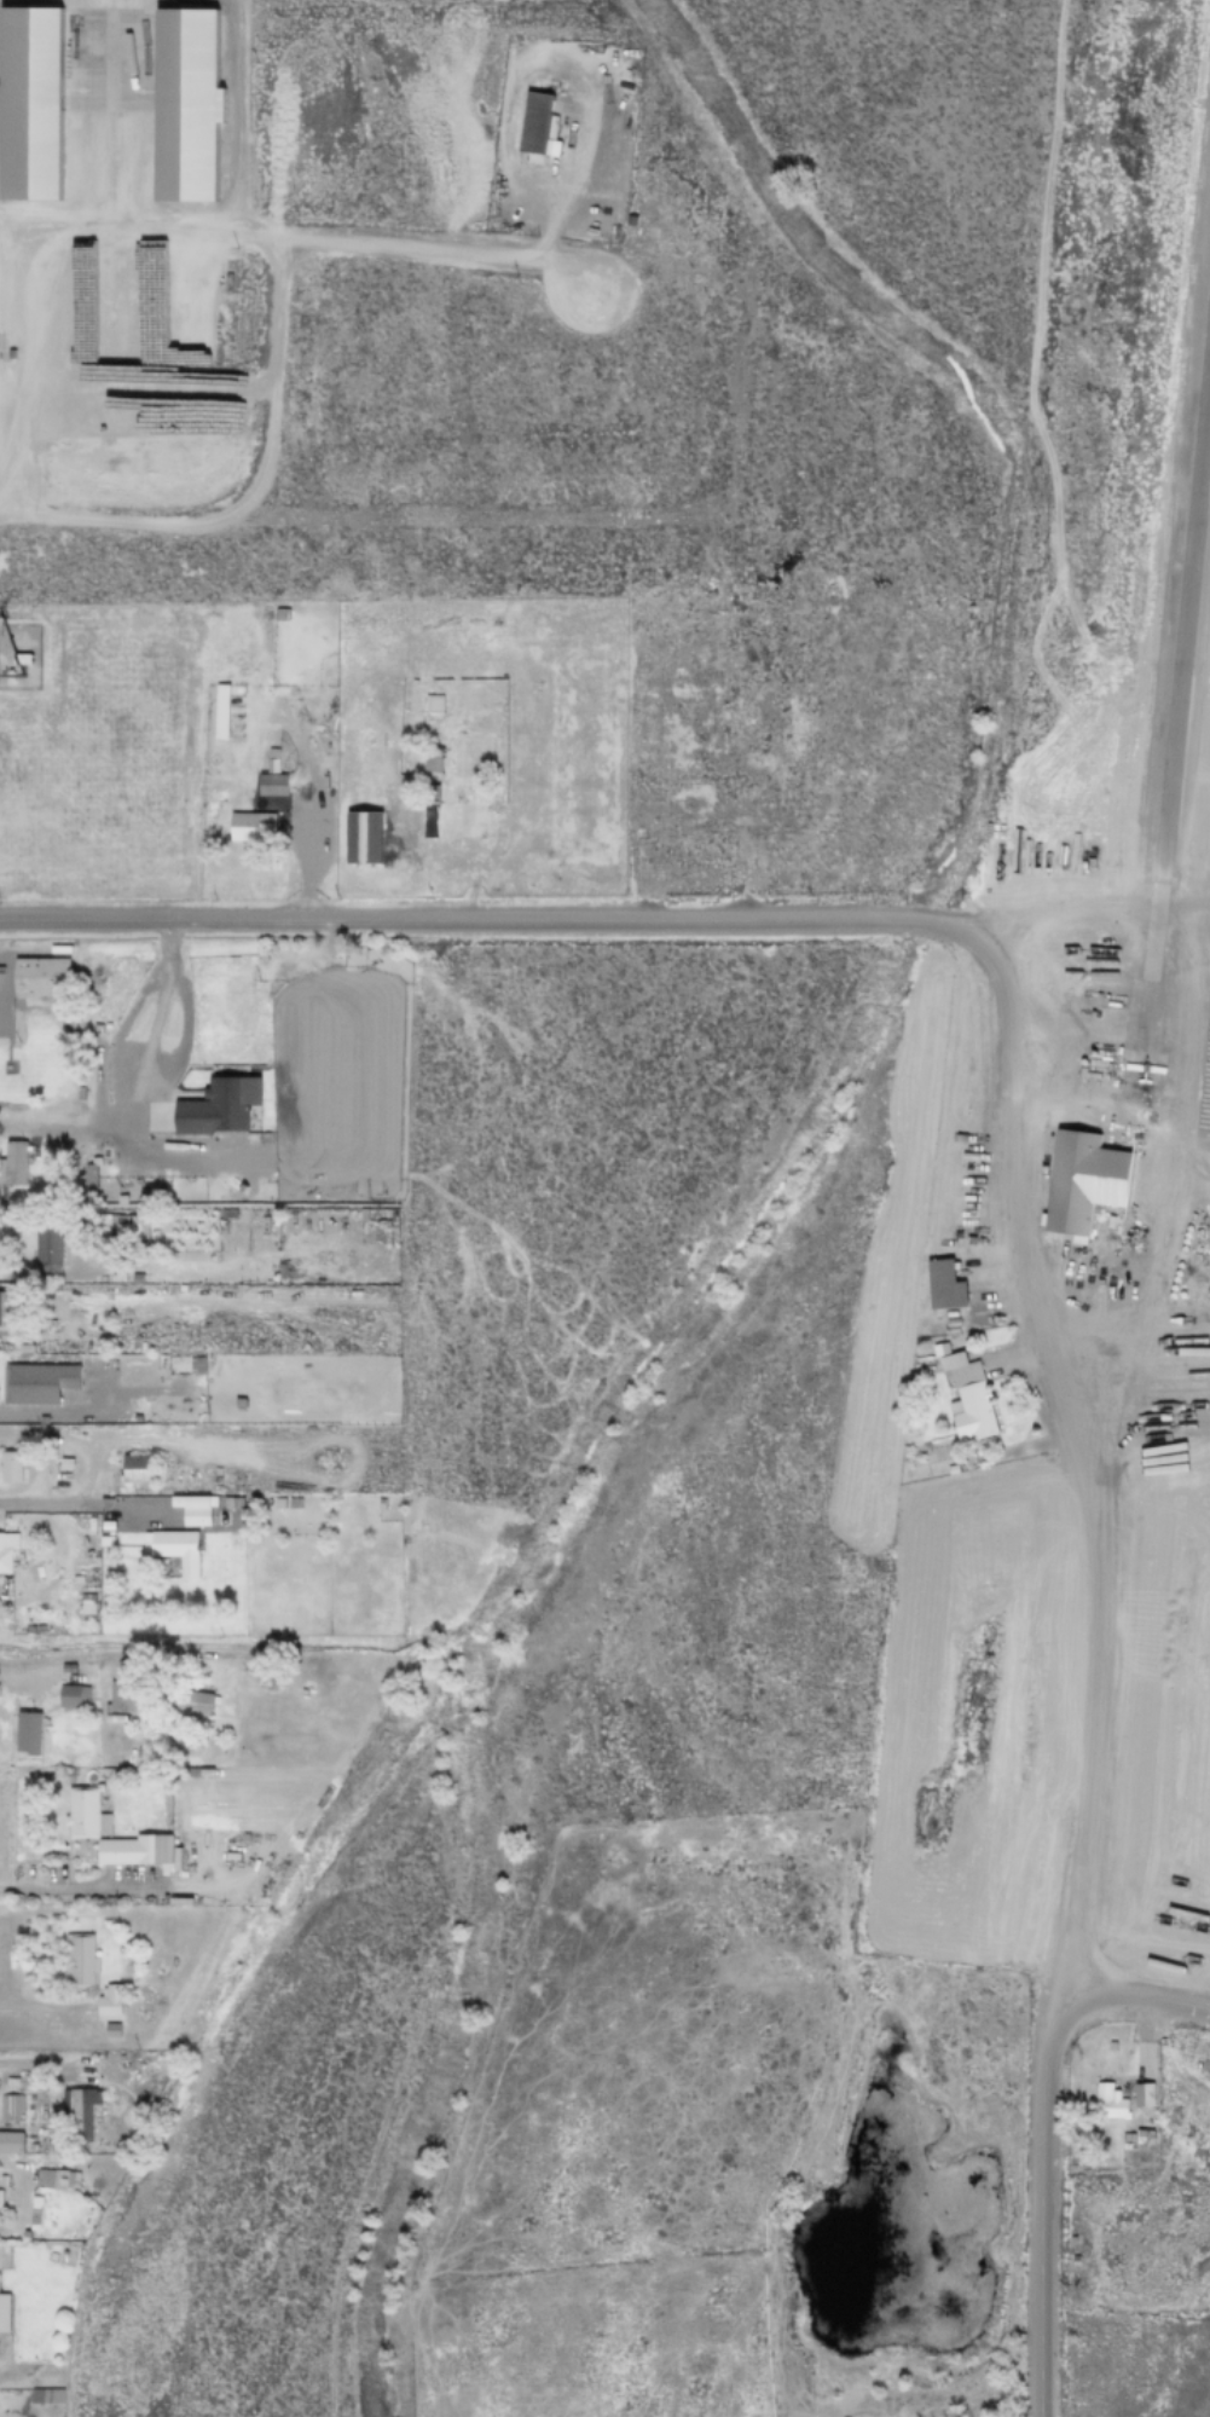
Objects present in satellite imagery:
building: (29, 103)
building: (180, 104)
building: (534, 126)
building: (631, 222)
road: (228, 225)
road: (264, 248)
road: (109, 268)
road: (0, 284)
road: (47, 290)
road: (276, 300)
building: (176, 333)
road: (0, 351)
building: (2, 351)
building: (12, 357)
road: (2, 433)
road: (1044, 464)
building: (509, 609)
building: (282, 614)
building: (19, 660)
building: (433, 704)
building: (219, 711)
airport runway: (1174, 728)
building: (272, 761)
building: (271, 785)
building: (633, 806)
building: (451, 814)
building: (250, 827)
road: (493, 834)
road: (307, 850)
road: (1087, 914)
road: (482, 924)
road: (0, 966)
building: (377, 967)
building: (40, 976)
building: (299, 978)
building: (1107, 988)
building: (346, 996)
building: (329, 1000)
road: (1175, 1022)
road: (1093, 1028)
road: (121, 1033)
road: (157, 1089)
building: (79, 1093)
building: (216, 1105)
road: (1194, 1160)
building: (13, 1161)
building: (88, 1179)
building: (1070, 1181)
building: (226, 1213)
building: (363, 1214)
building: (257, 1221)
building: (99, 1224)
building: (127, 1227)
building: (66, 1233)
parking lot: (974, 1239)
building: (46, 1249)
road: (311, 1254)
building: (279, 1268)
building: (290, 1270)
building: (265, 1276)
road: (1158, 1276)
road: (71, 1277)
building: (137, 1278)
building: (942, 1283)
building: (6, 1311)
road: (352, 1311)
building: (944, 1312)
building: (953, 1320)
road: (118, 1326)
building: (951, 1331)
road: (39, 1335)
building: (23, 1347)
parking lot: (996, 1363)
building: (197, 1365)
building: (36, 1381)
road: (150, 1388)
building: (965, 1394)
road: (71, 1413)
road: (92, 1449)
road: (1142, 1451)
road: (1073, 1459)
building: (64, 1463)
building: (13, 1464)
building: (135, 1468)
building: (951, 1468)
building: (359, 1486)
building: (384, 1487)
building: (224, 1502)
building: (238, 1502)
building: (278, 1503)
building: (380, 1503)
road: (121, 1505)
building: (301, 1505)
building: (193, 1508)
building: (105, 1540)
building: (88, 1546)
building: (6, 1549)
building: (173, 1549)
building: (88, 1562)
building: (421, 1568)
building: (413, 1569)
building: (89, 1575)
road: (45, 1590)
building: (83, 1596)
building: (86, 1608)
building: (17, 1629)
building: (29, 1630)
road: (134, 1653)
building: (244, 1667)
building: (66, 1669)
building: (253, 1673)
building: (68, 1678)
building: (271, 1683)
building: (73, 1696)
building: (120, 1696)
building: (185, 1701)
building: (27, 1733)
road: (262, 1756)
building: (189, 1771)
building: (83, 1814)
building: (135, 1849)
road: (73, 1886)
building: (77, 1959)
road: (1060, 1989)
building: (106, 2002)
road: (35, 2003)
building: (110, 2028)
building: (1111, 2045)
road: (42, 2058)
building: (114, 2058)
building: (1205, 2064)
building: (1142, 2094)
building: (1111, 2101)
building: (11, 2105)
building: (75, 2114)
building: (17, 2123)
building: (1129, 2128)
building: (1142, 2135)
building: (1127, 2136)
road: (1042, 2138)
building: (10, 2143)
building: (29, 2146)
building: (50, 2146)
building: (1122, 2146)
building: (52, 2178)
building: (2, 2180)
building: (0, 2198)
building: (33, 2233)
building: (23, 2234)
building: (1071, 2240)
building: (1075, 2259)
road: (15, 2300)
building: (63, 2349)

